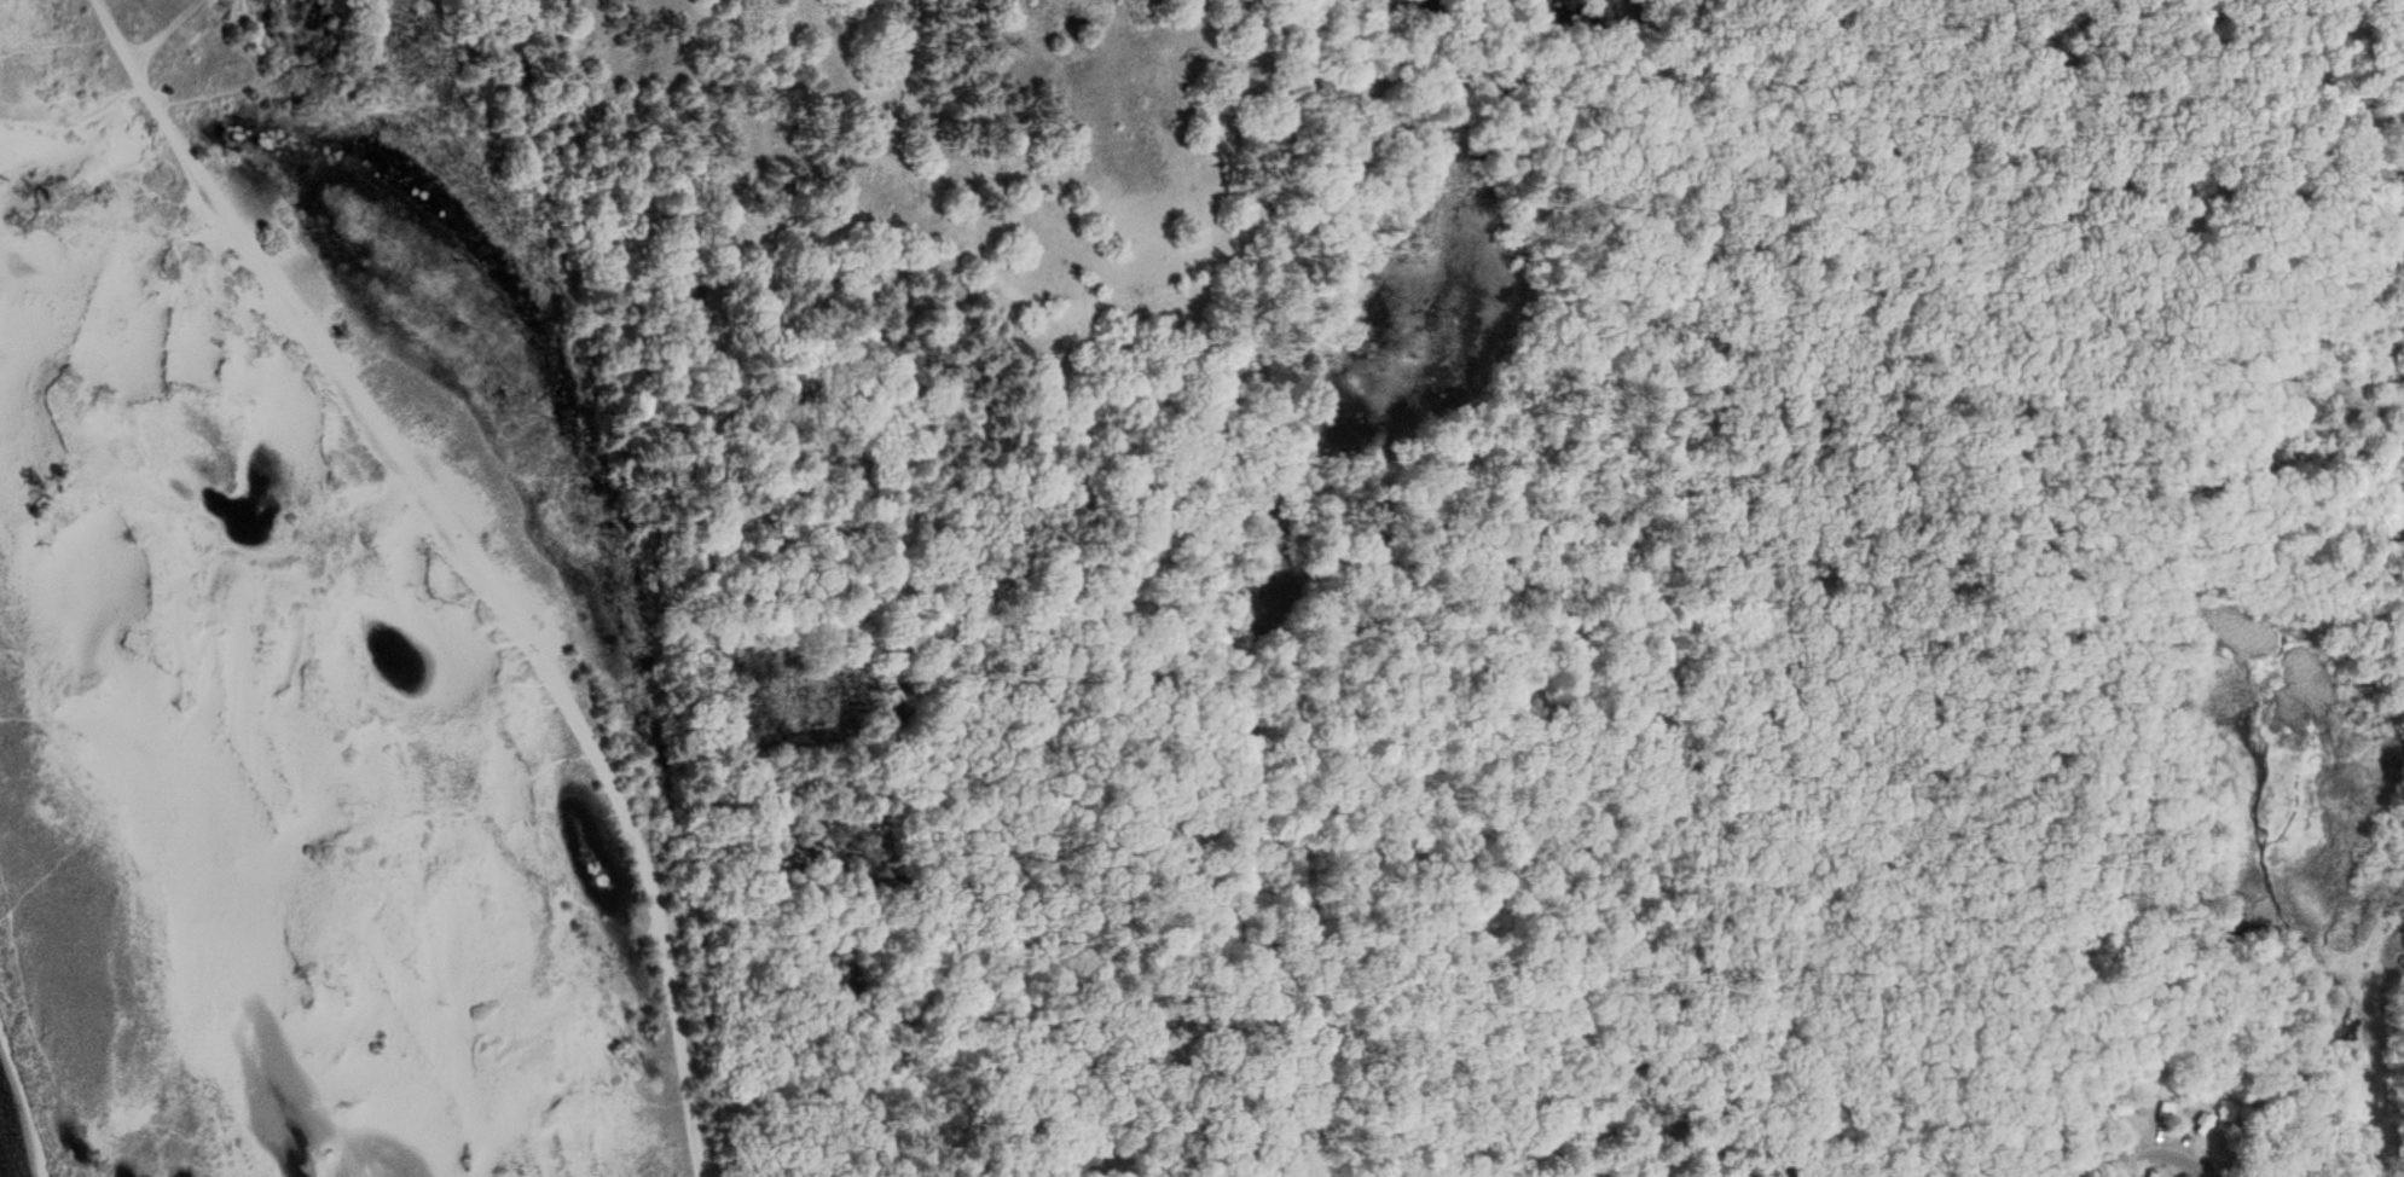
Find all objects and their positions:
road: (198, 100)
road: (1957, 489)
road: (1379, 524)
road: (1504, 550)
road: (480, 556)
park: (1201, 588)
building: (2200, 1124)
road: (2166, 1149)

